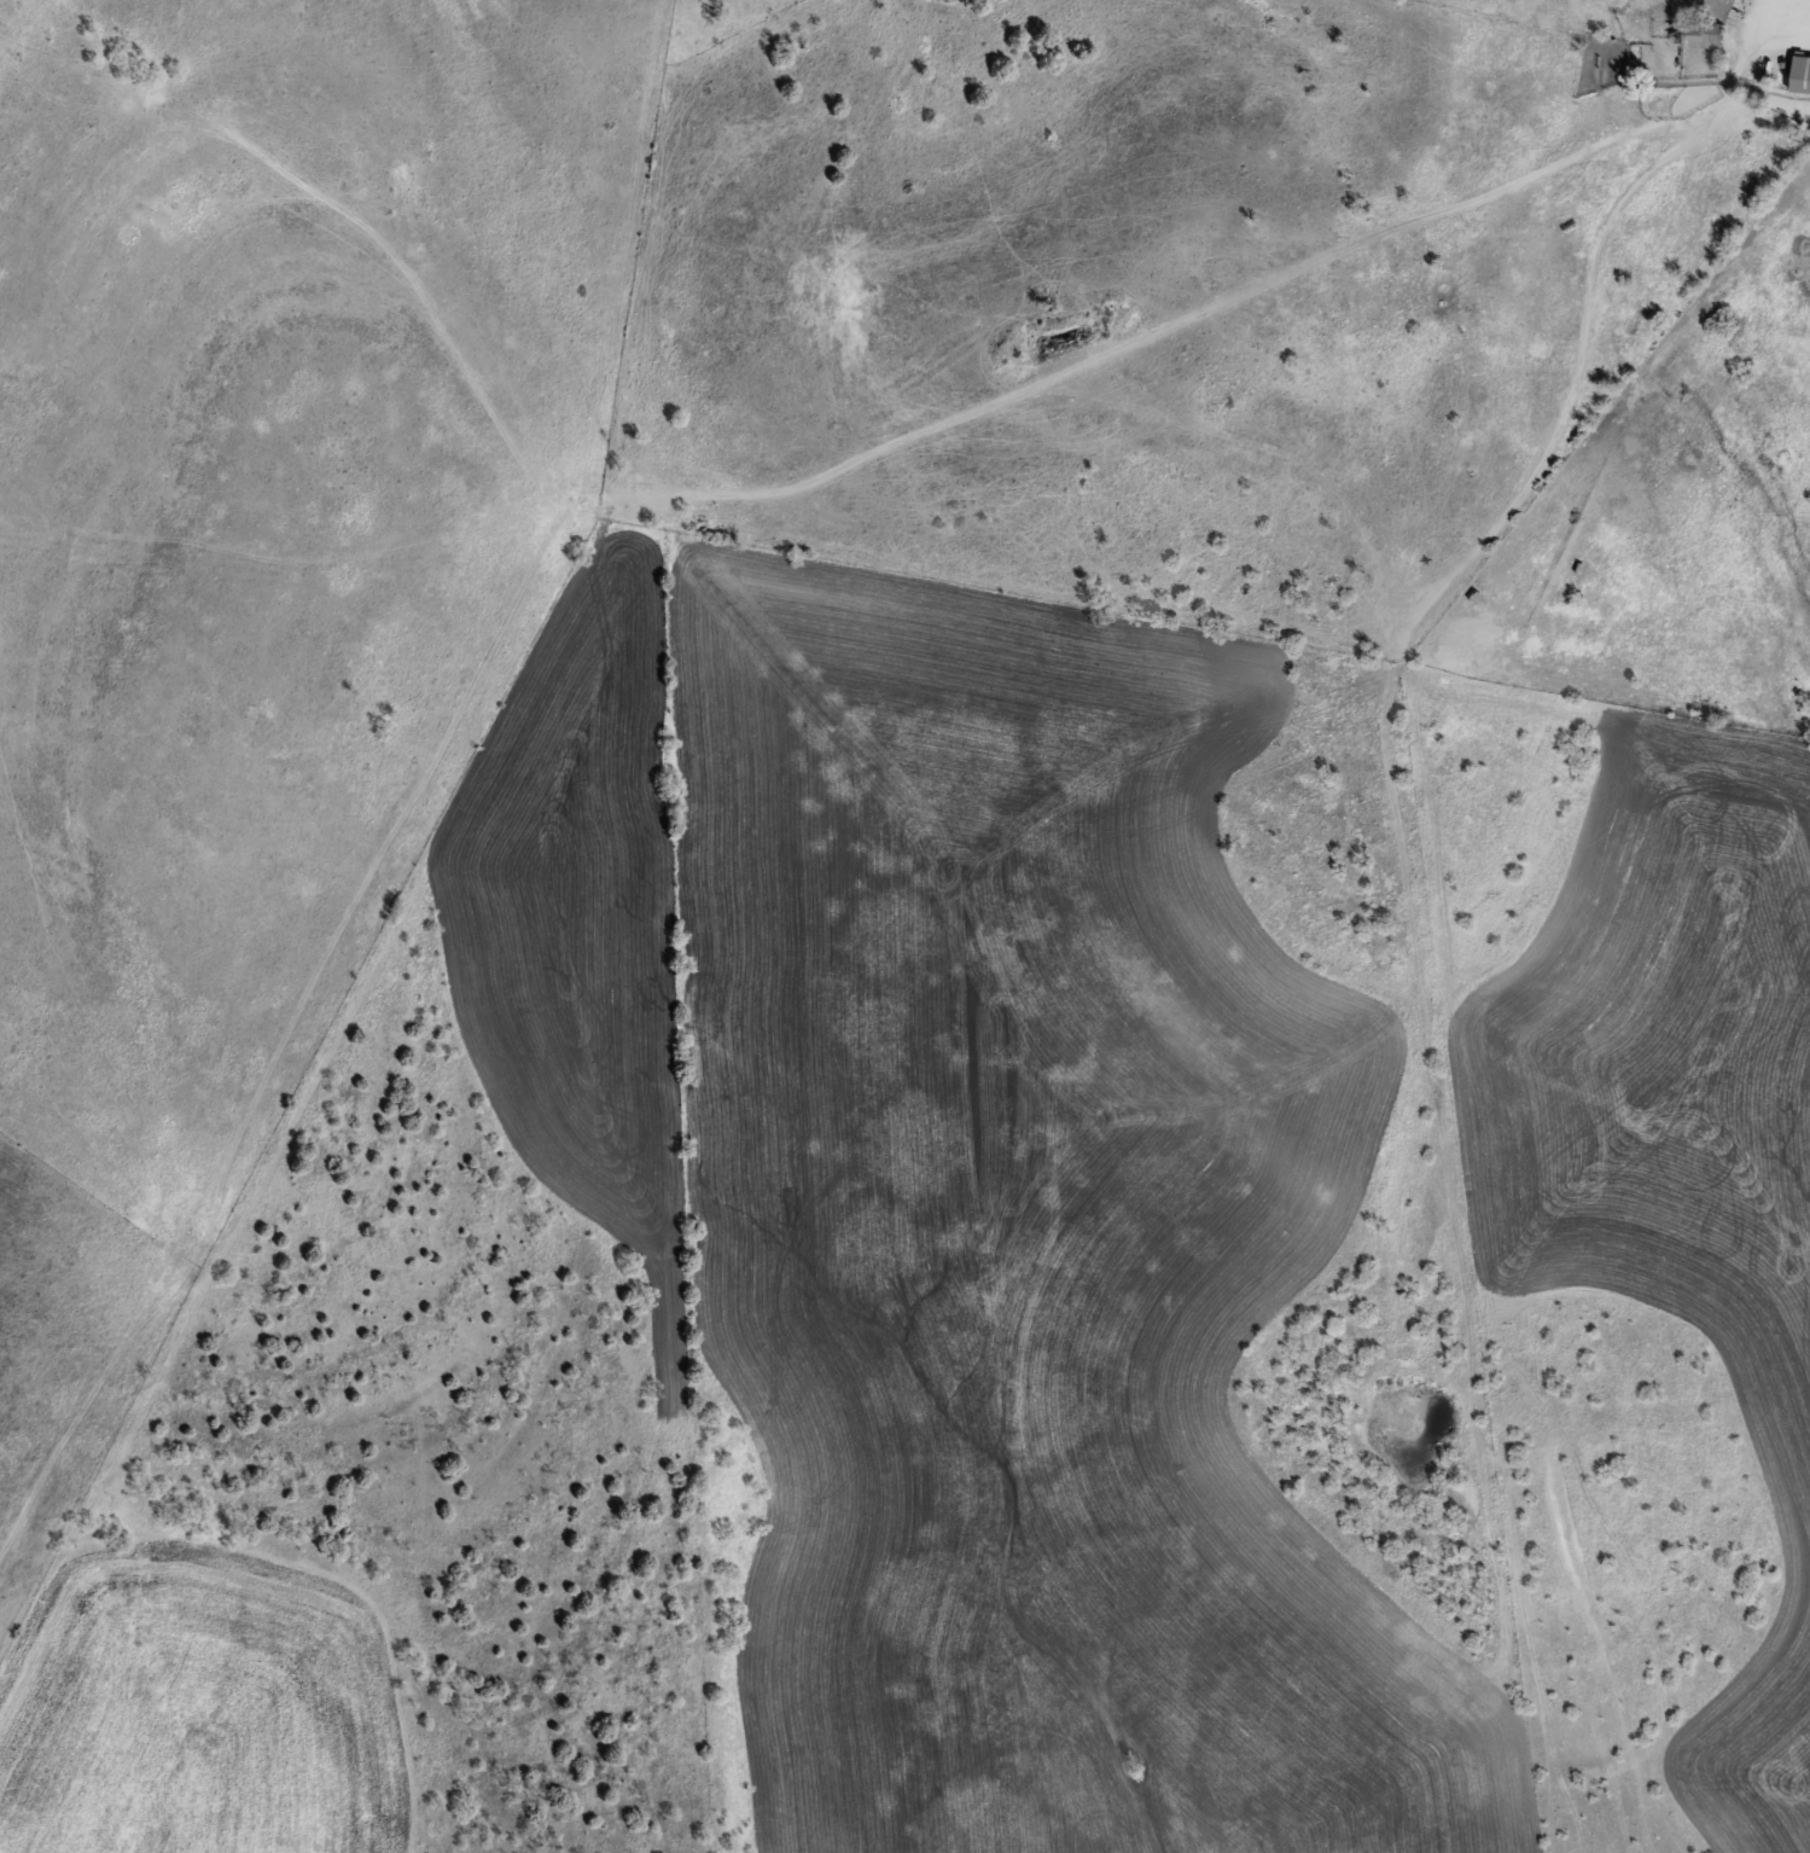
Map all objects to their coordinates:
building: (1696, 34)
building: (1802, 74)

